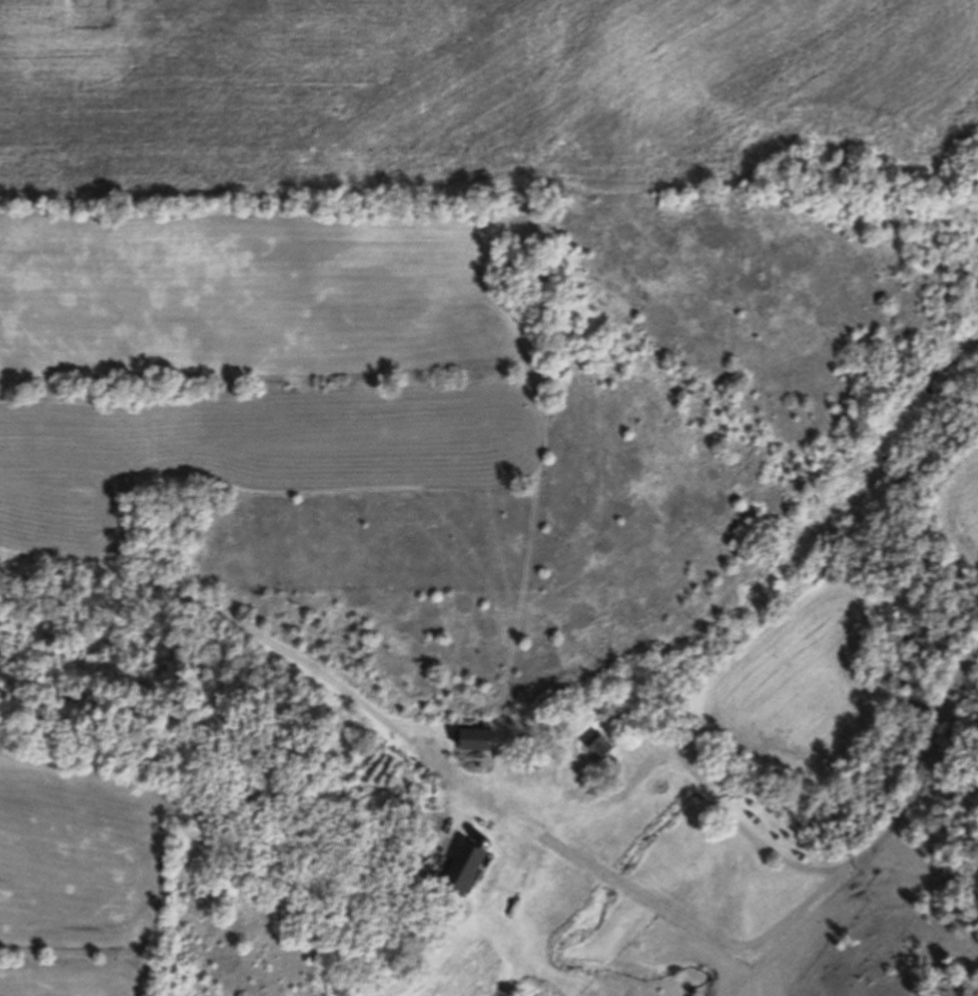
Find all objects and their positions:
building: (475, 738)
building: (600, 743)
road: (853, 856)
building: (464, 868)

